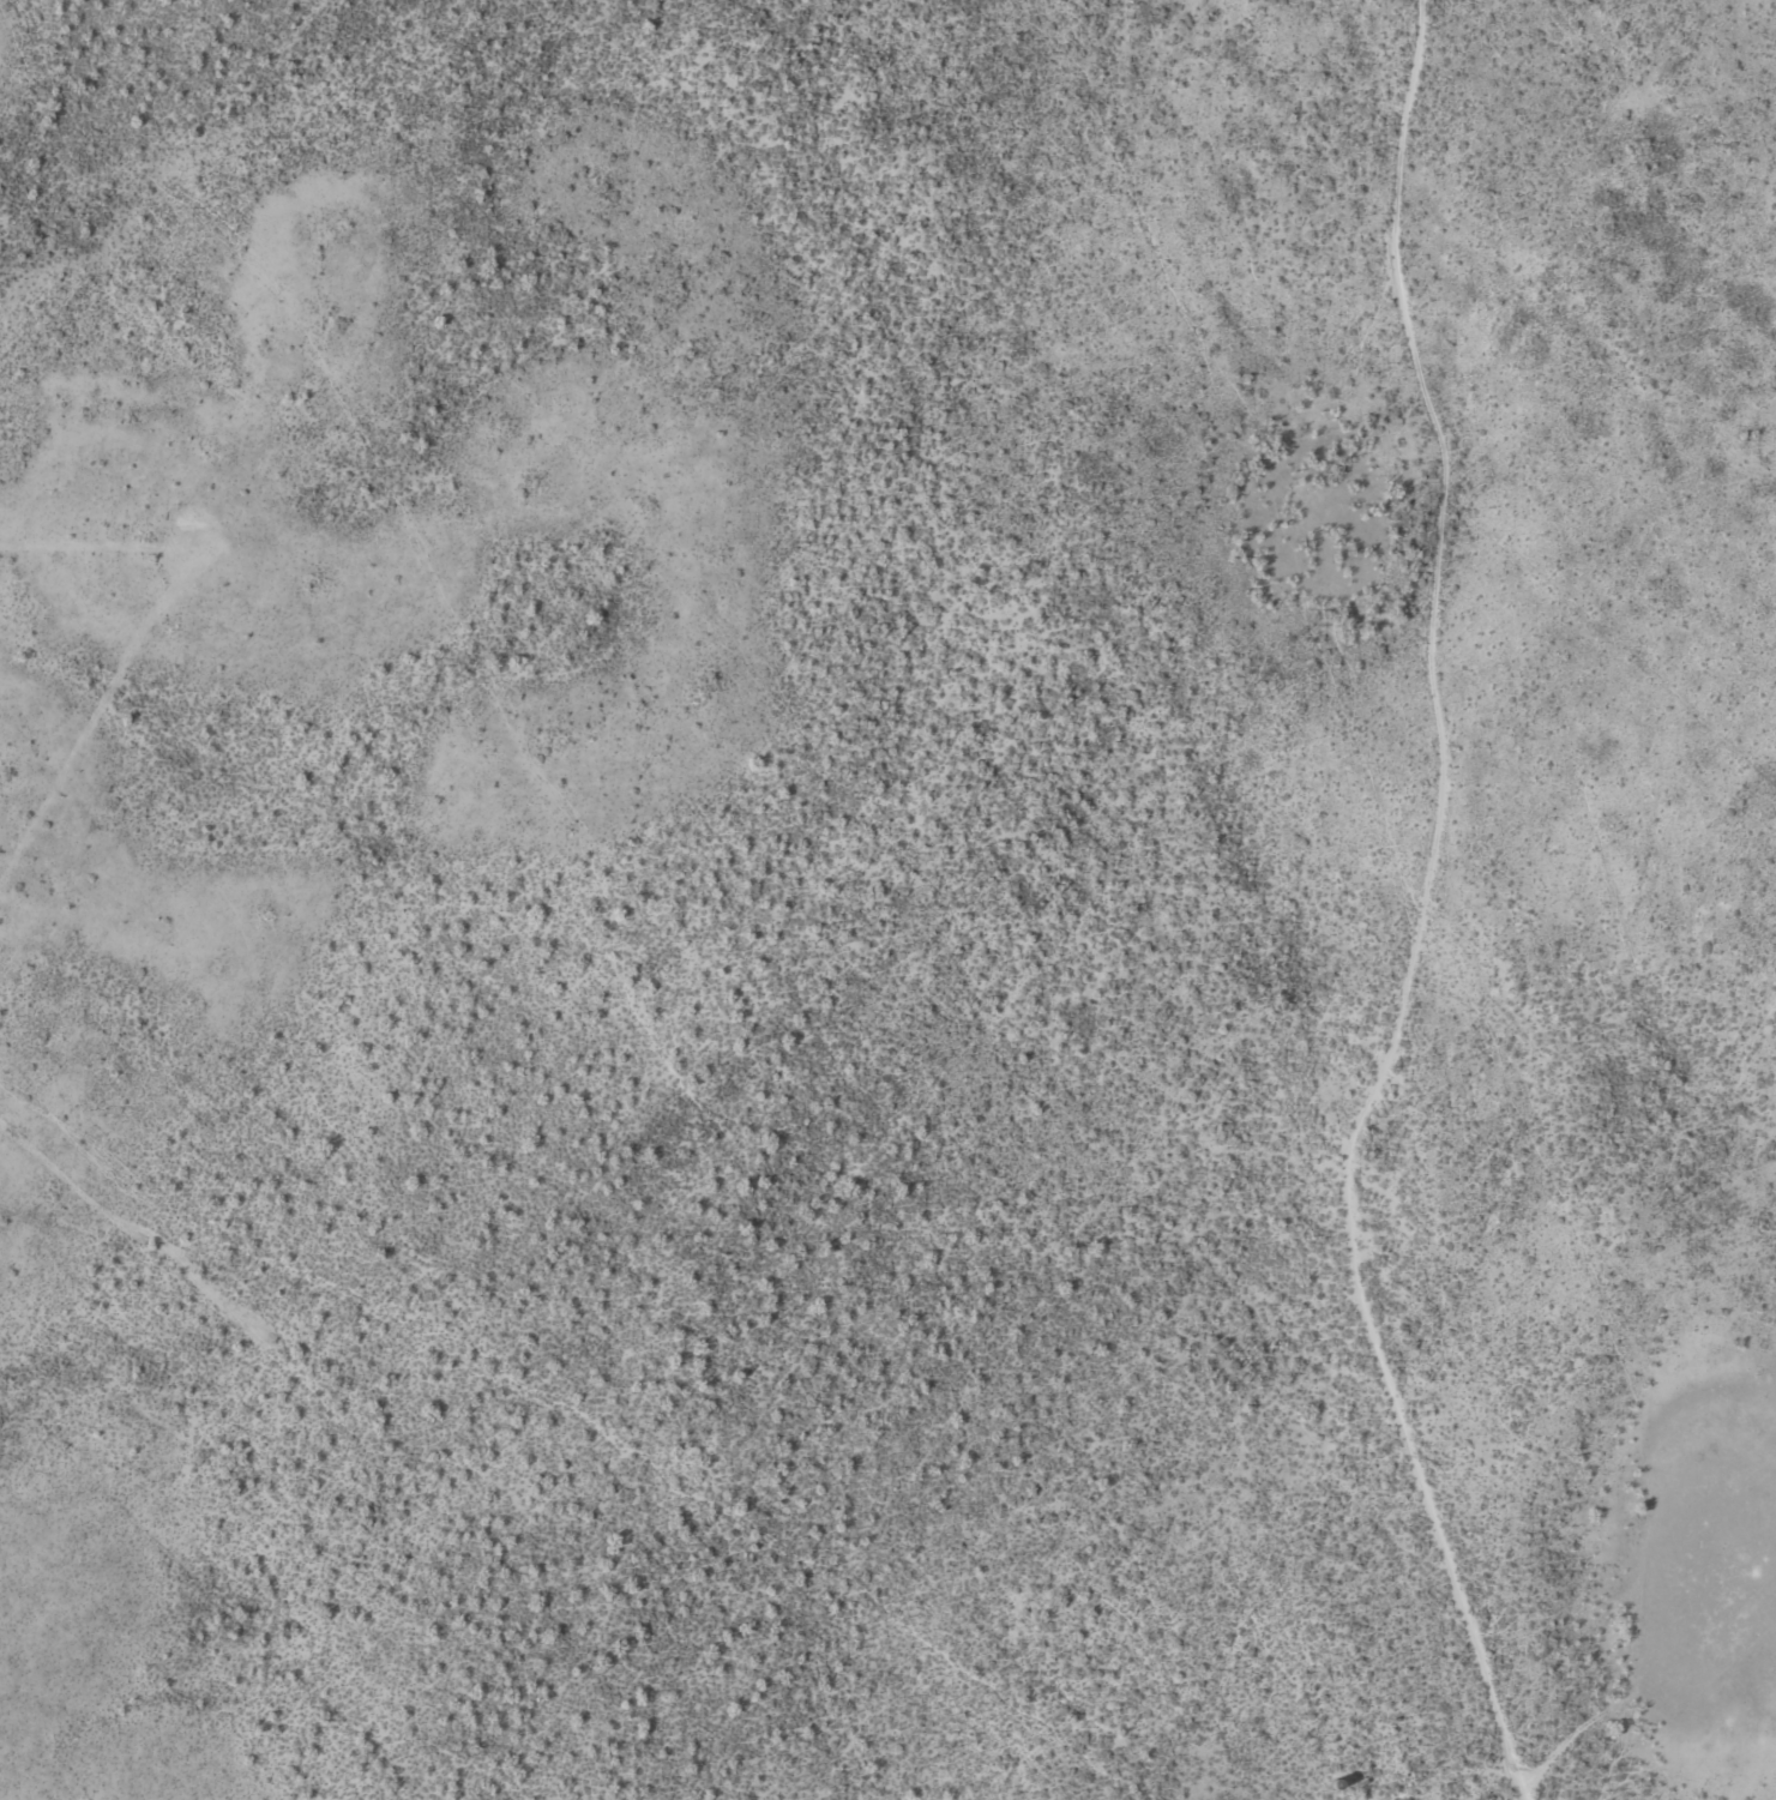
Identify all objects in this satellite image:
road: (1447, 1530)

